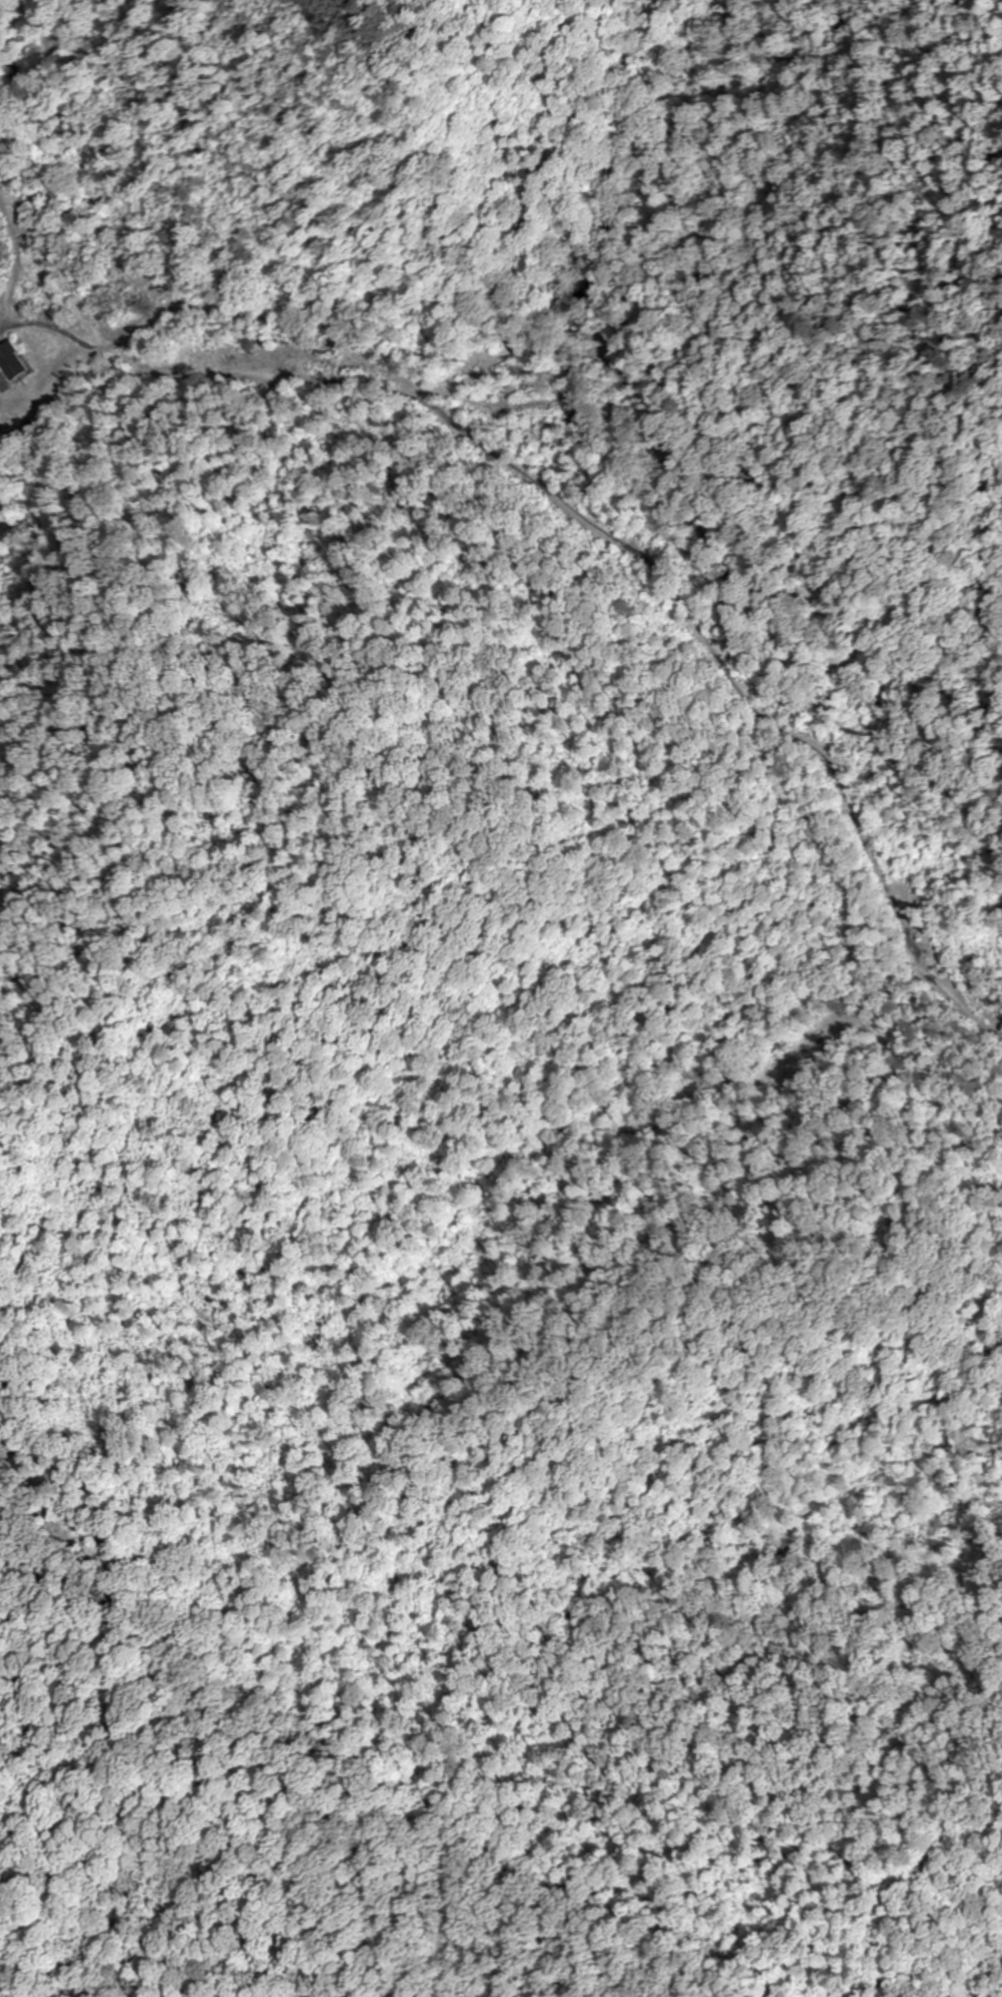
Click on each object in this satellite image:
building: (14, 361)

